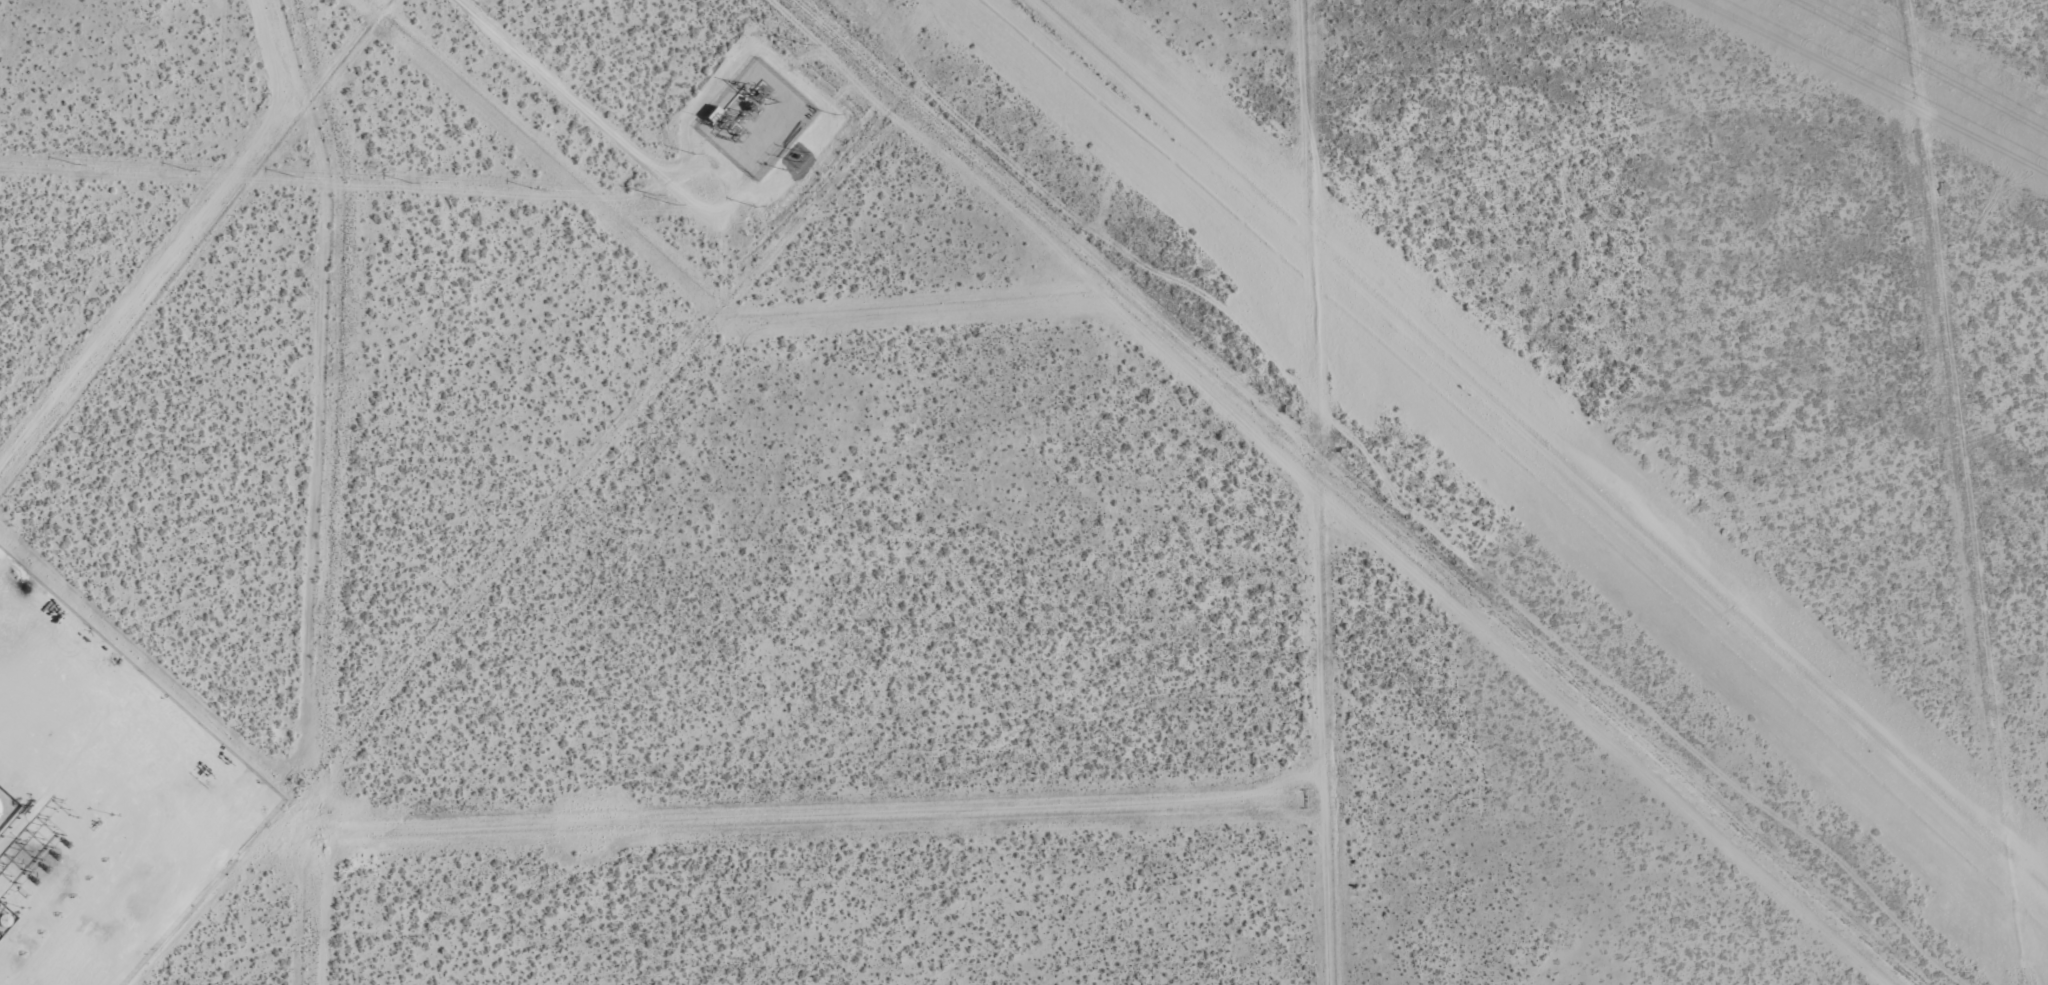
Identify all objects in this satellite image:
power tower: (805, 44)
power substation: (755, 116)

